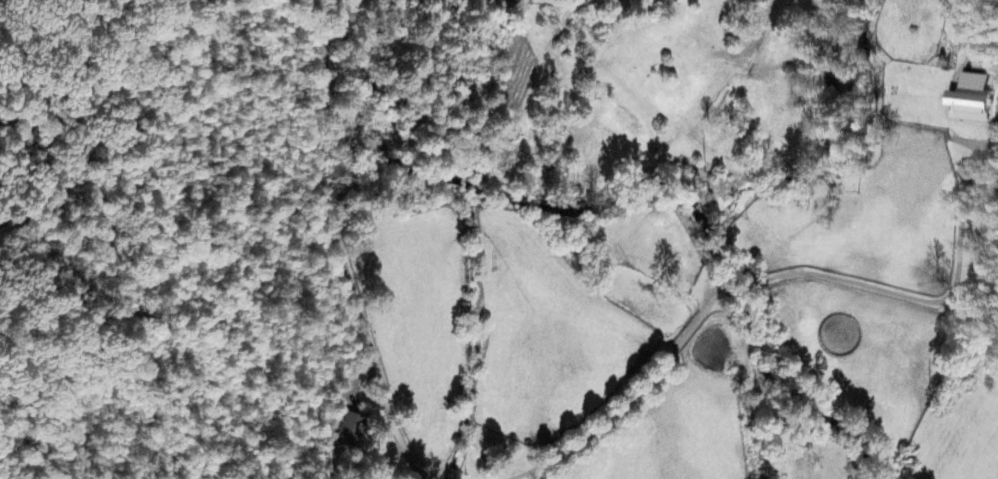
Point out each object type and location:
building: (968, 103)
road: (337, 247)
building: (347, 437)

